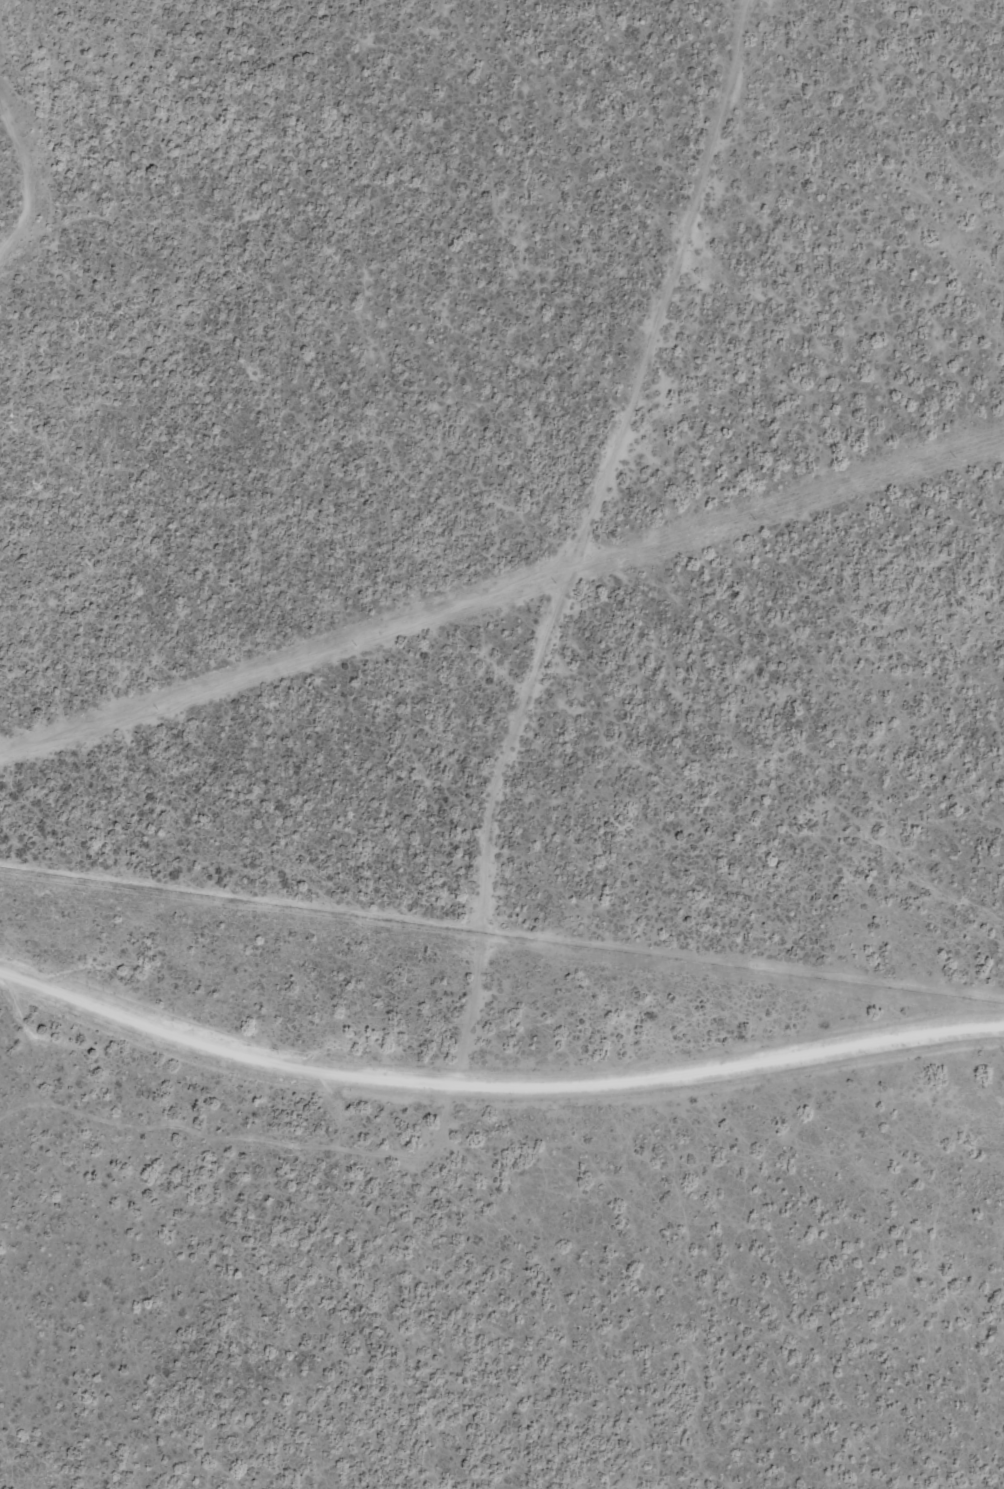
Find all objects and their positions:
road: (523, 789)

